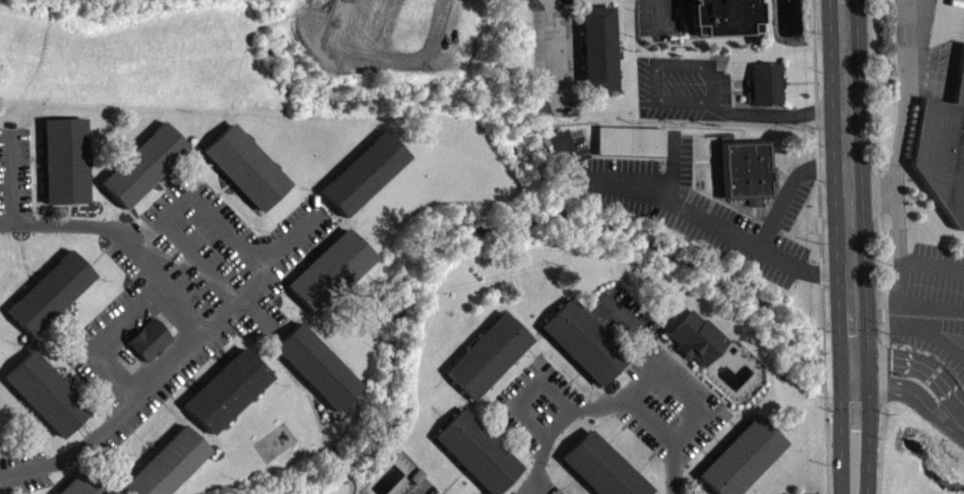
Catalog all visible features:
building: (722, 15)
road: (657, 16)
parking lot: (657, 18)
building: (597, 45)
parking lot: (938, 45)
road: (555, 52)
road: (657, 65)
building: (766, 80)
parking lot: (683, 87)
road: (785, 114)
road: (901, 130)
building: (628, 139)
building: (942, 151)
building: (65, 158)
building: (144, 163)
building: (246, 164)
building: (364, 171)
road: (11, 176)
building: (743, 181)
road: (865, 191)
road: (655, 193)
road: (762, 232)
road: (227, 237)
road: (289, 245)
road: (820, 246)
road: (837, 246)
road: (863, 246)
building: (329, 268)
road: (171, 287)
building: (50, 290)
road: (898, 298)
road: (931, 306)
road: (233, 310)
road: (262, 315)
traffic signals: (840, 334)
parking lot: (928, 334)
building: (696, 335)
building: (150, 337)
road: (105, 339)
building: (585, 339)
building: (487, 353)
road: (962, 357)
traffic signals: (890, 359)
road: (911, 362)
building: (315, 364)
road: (677, 384)
building: (225, 388)
road: (527, 388)
building: (45, 391)
road: (909, 393)
road: (606, 405)
traffic signals: (866, 413)
building: (479, 451)
park: (920, 454)
building: (739, 455)
building: (165, 463)
building: (600, 470)
building: (81, 484)
parking lot: (427, 489)

